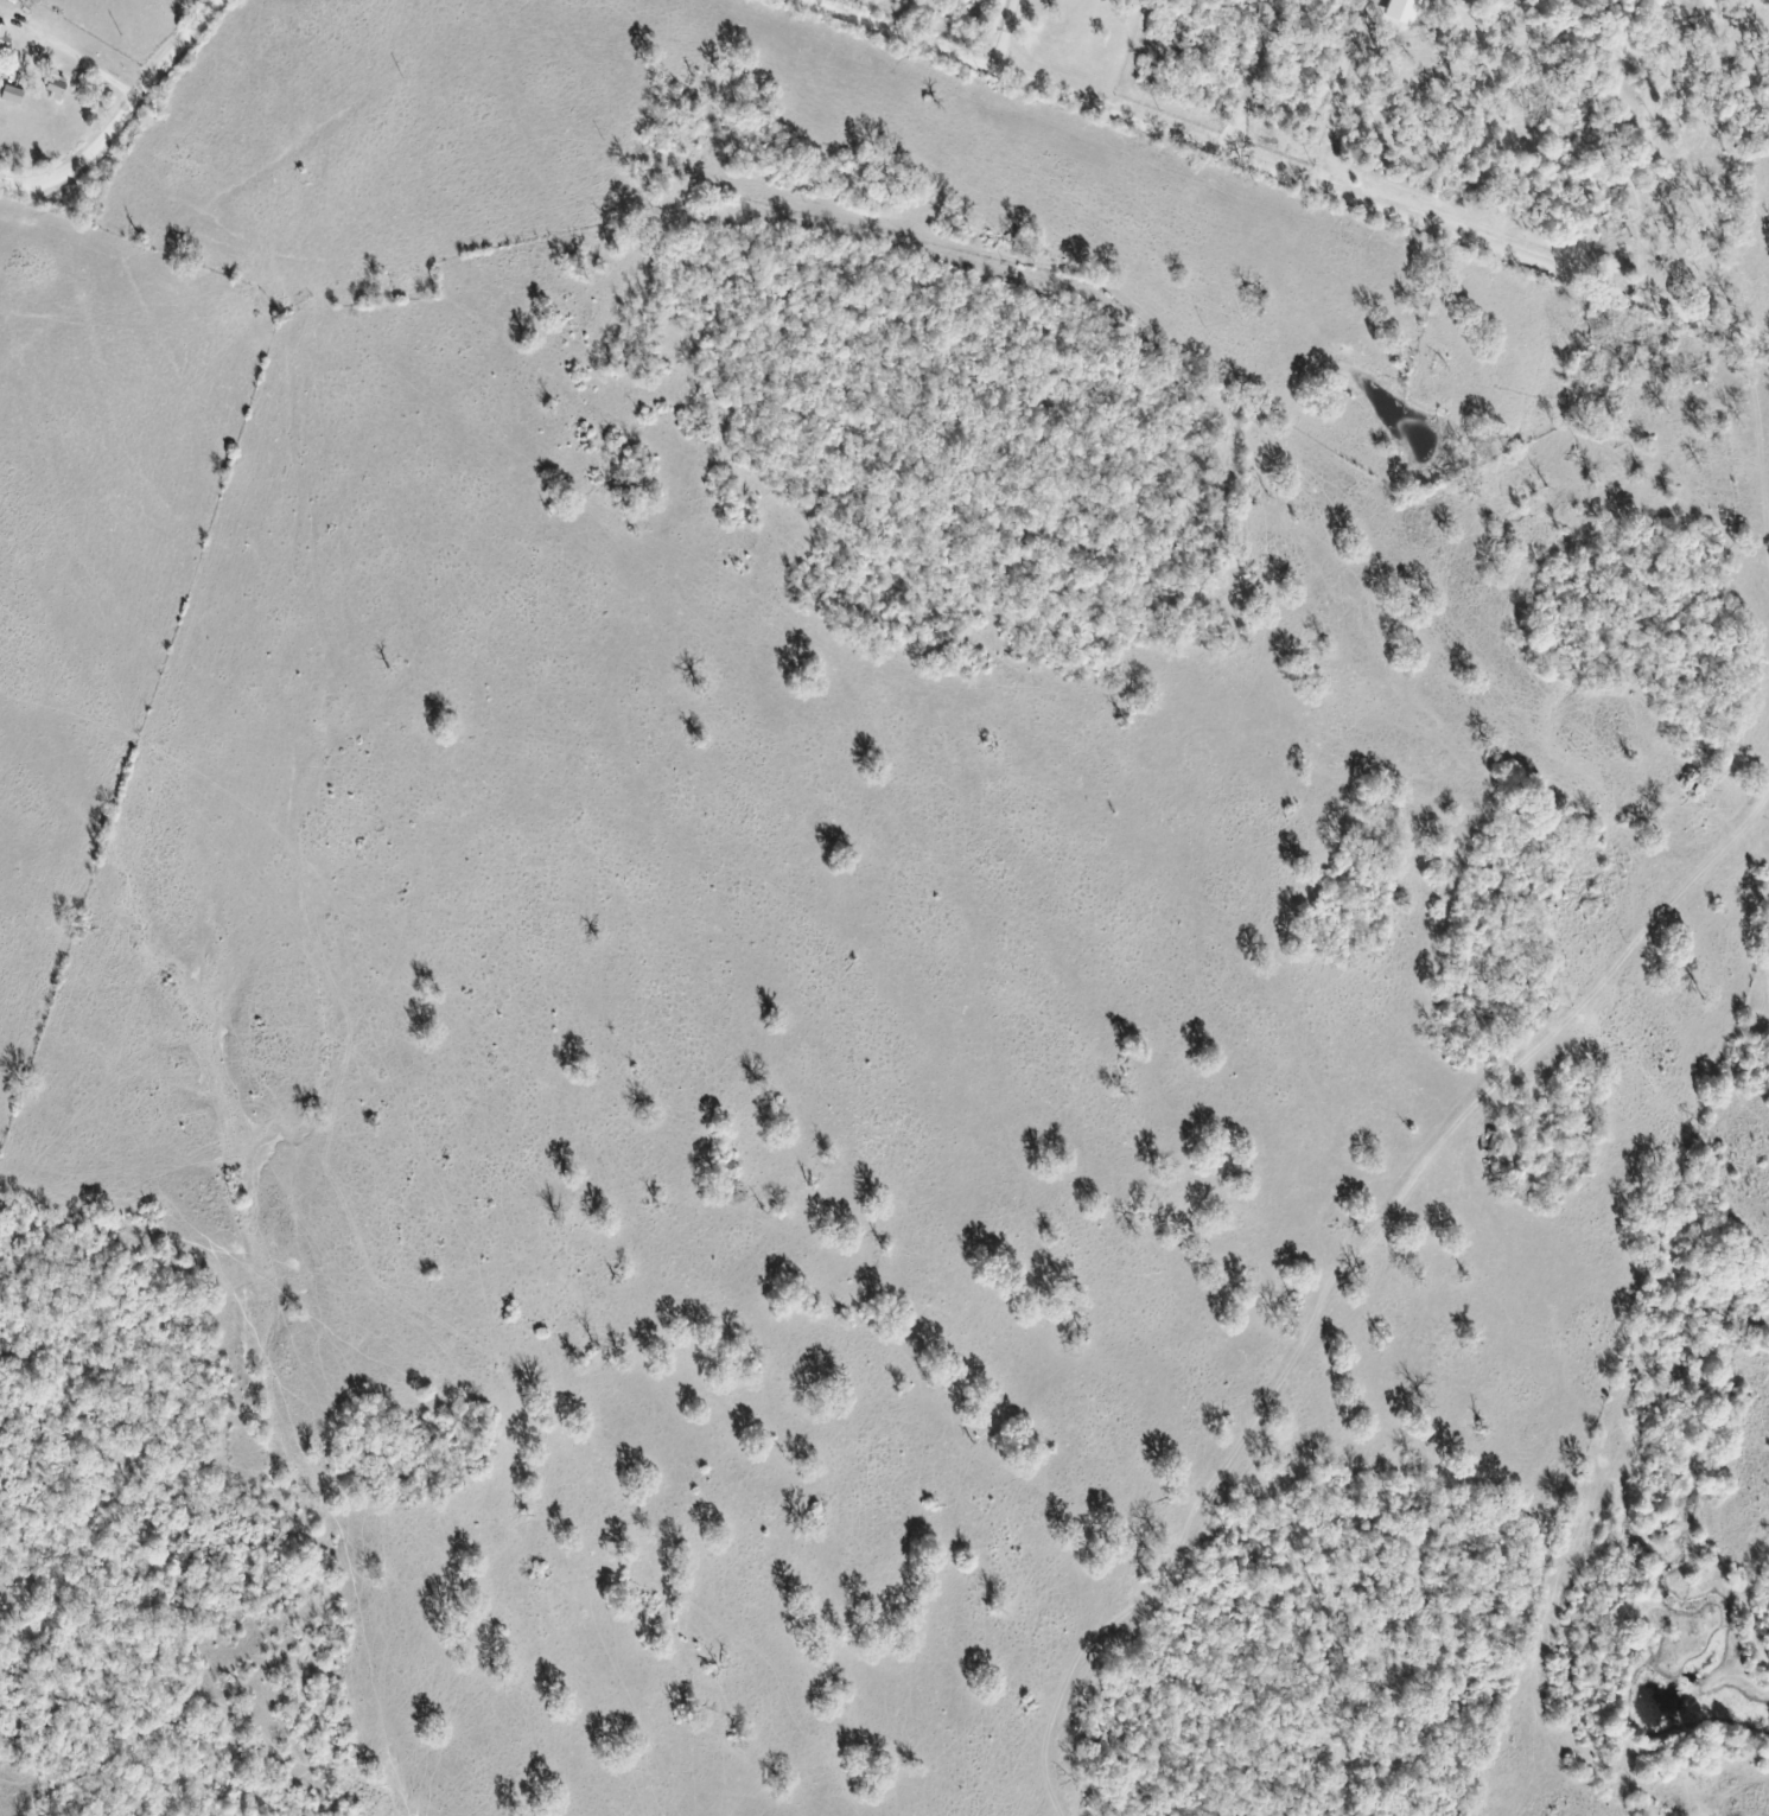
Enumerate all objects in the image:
building: (2, 36)
building: (58, 88)
building: (14, 95)
road: (120, 114)
road: (1284, 174)

